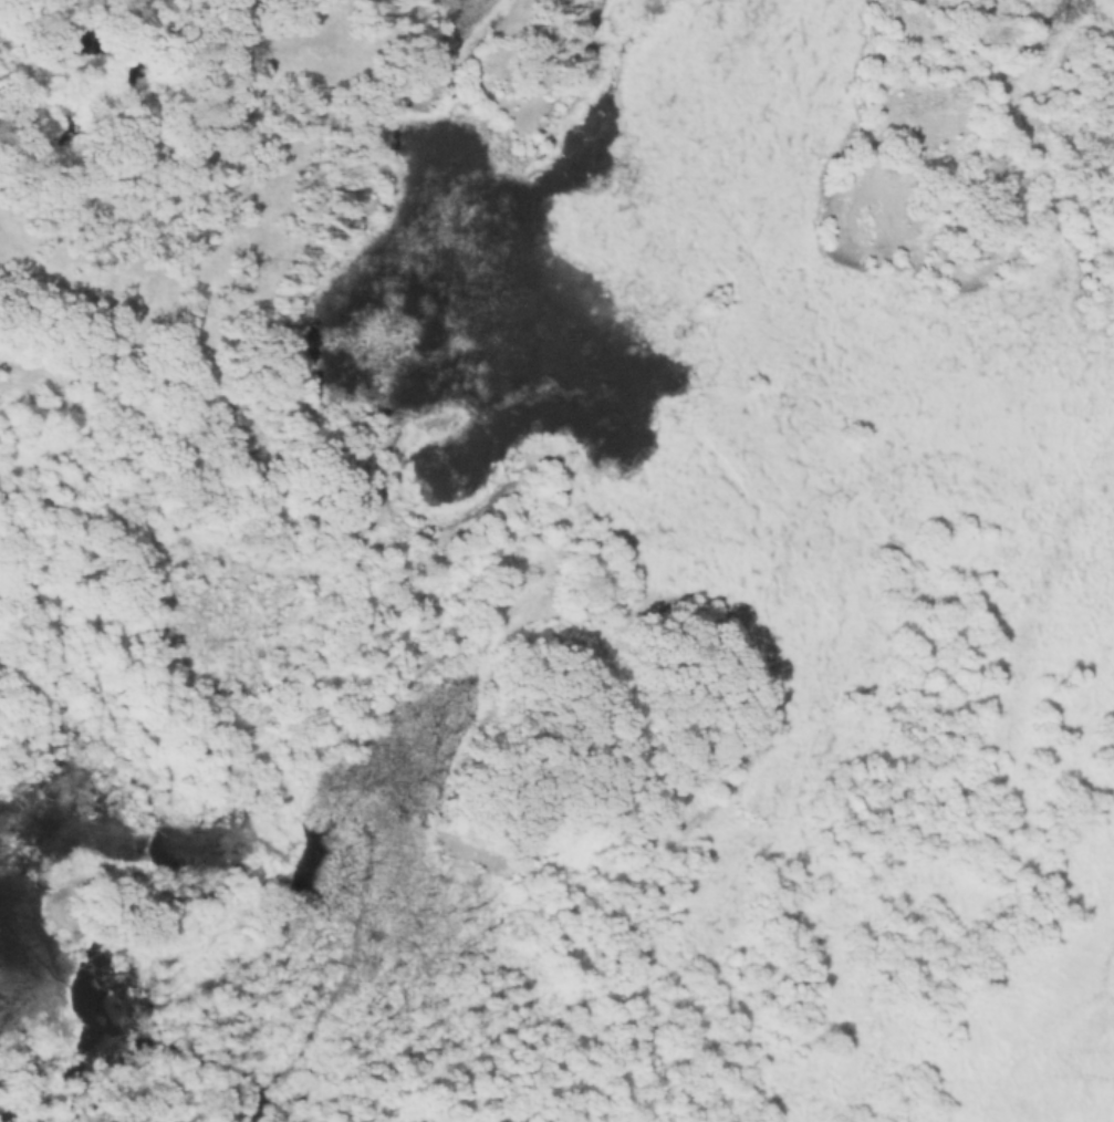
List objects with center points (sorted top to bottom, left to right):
road: (1037, 153)
road: (845, 233)

